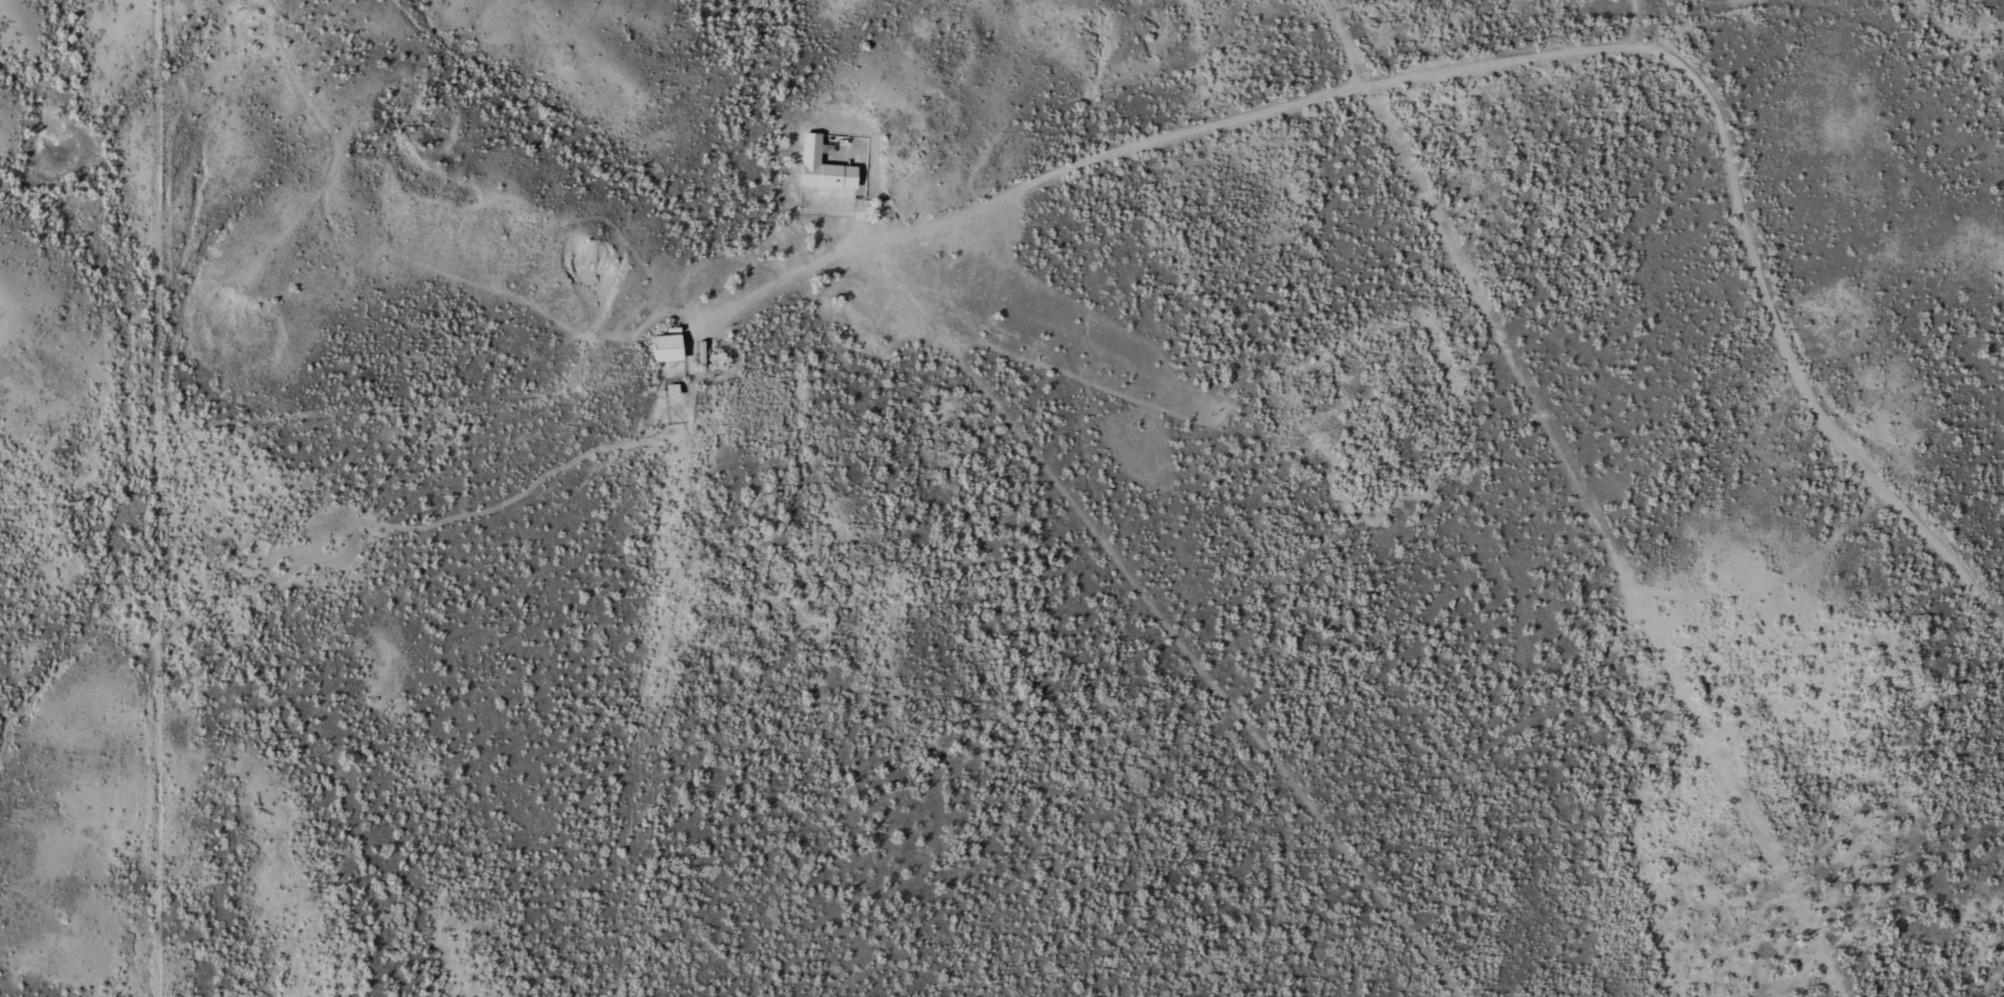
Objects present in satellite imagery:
road: (1590, 55)
building: (824, 167)
building: (669, 348)
building: (716, 361)

